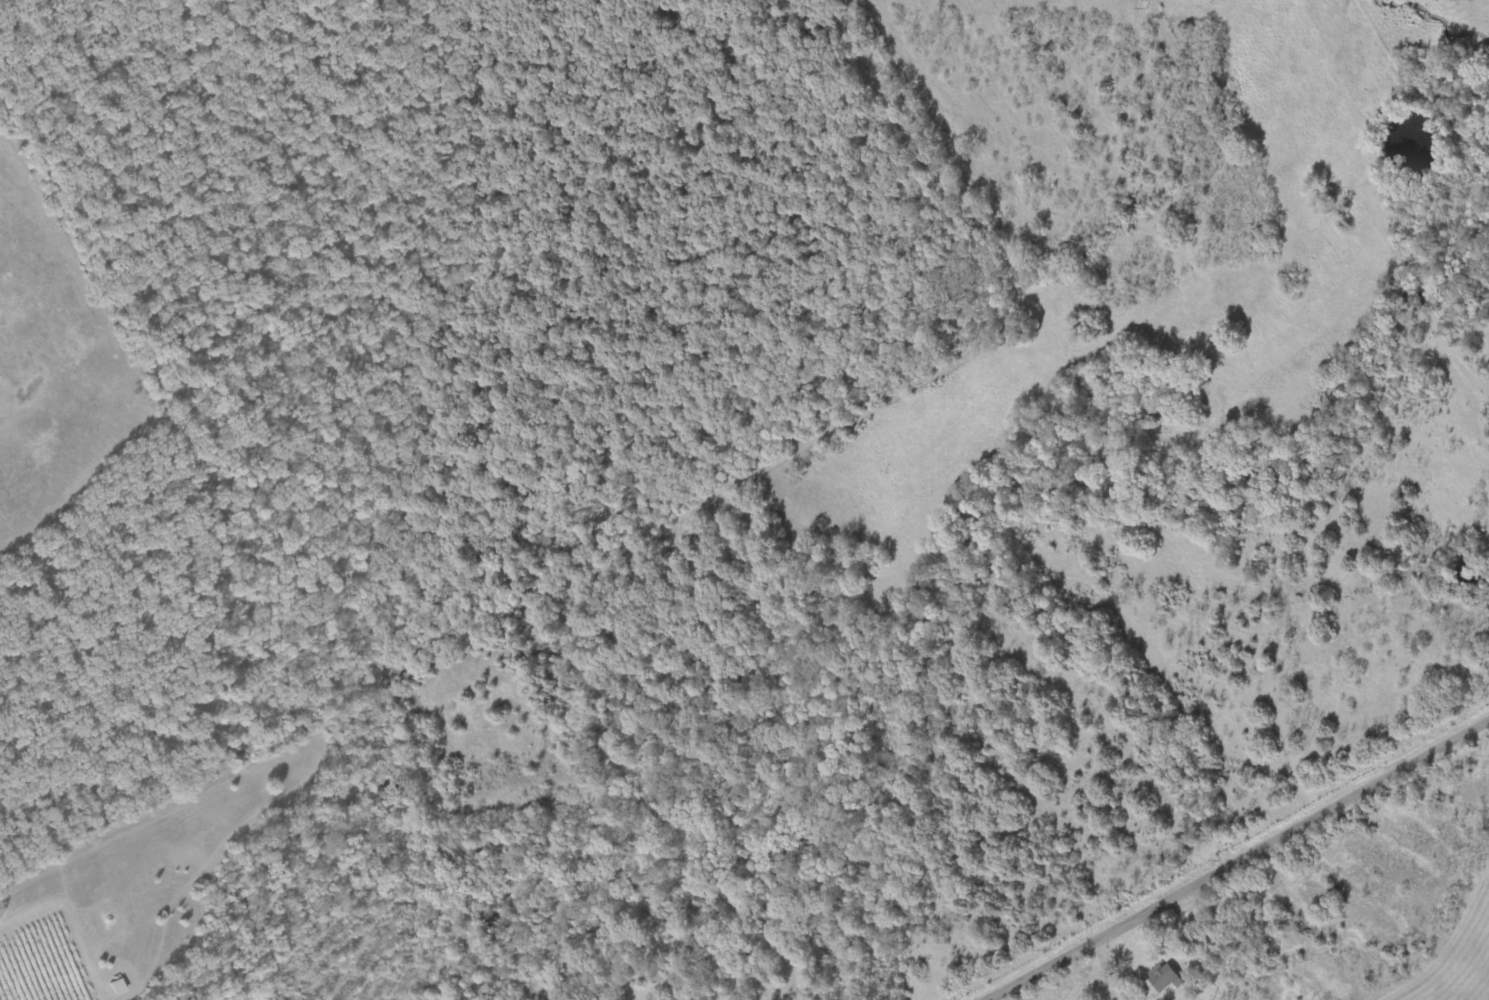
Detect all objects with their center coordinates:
power tower: (1147, 3)
road: (474, 73)
road: (1241, 863)
building: (1163, 979)

